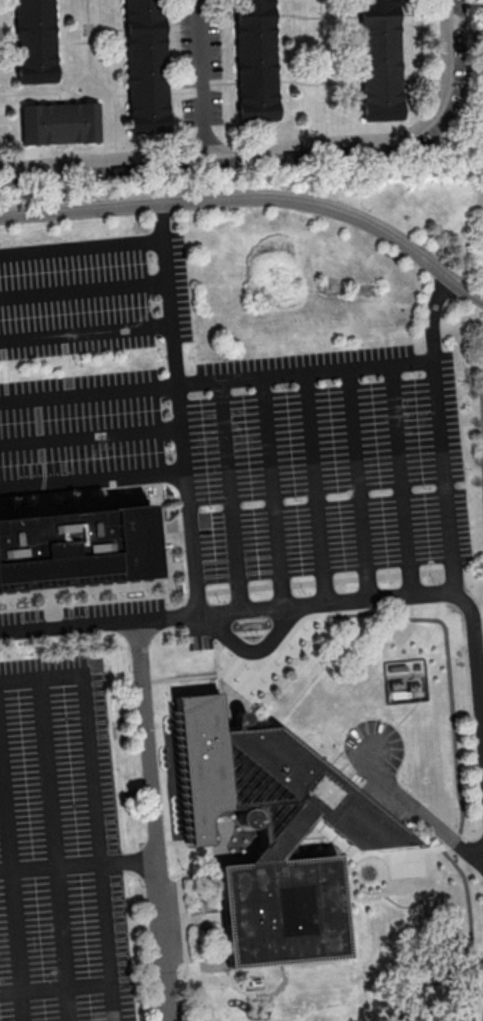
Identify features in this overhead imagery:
building: (34, 41)
building: (380, 59)
building: (255, 60)
building: (146, 66)
road: (201, 76)
building: (60, 122)
road: (280, 147)
road: (254, 200)
road: (83, 246)
road: (85, 290)
road: (436, 308)
road: (87, 332)
road: (305, 371)
road: (89, 391)
parking lot: (480, 395)
road: (180, 408)
road: (91, 435)
road: (441, 469)
road: (93, 481)
building: (76, 546)
road: (370, 600)
road: (69, 626)
road: (254, 650)
road: (94, 780)
road: (419, 811)
parking lot: (65, 813)
road: (154, 821)
building: (273, 833)
helipad: (274, 924)
road: (60, 928)
road: (108, 951)
road: (113, 1002)

